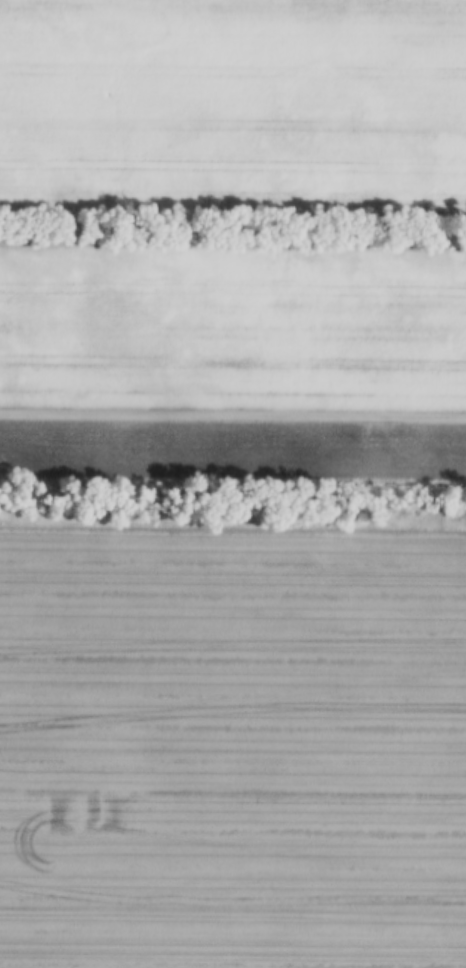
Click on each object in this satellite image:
road: (233, 415)

